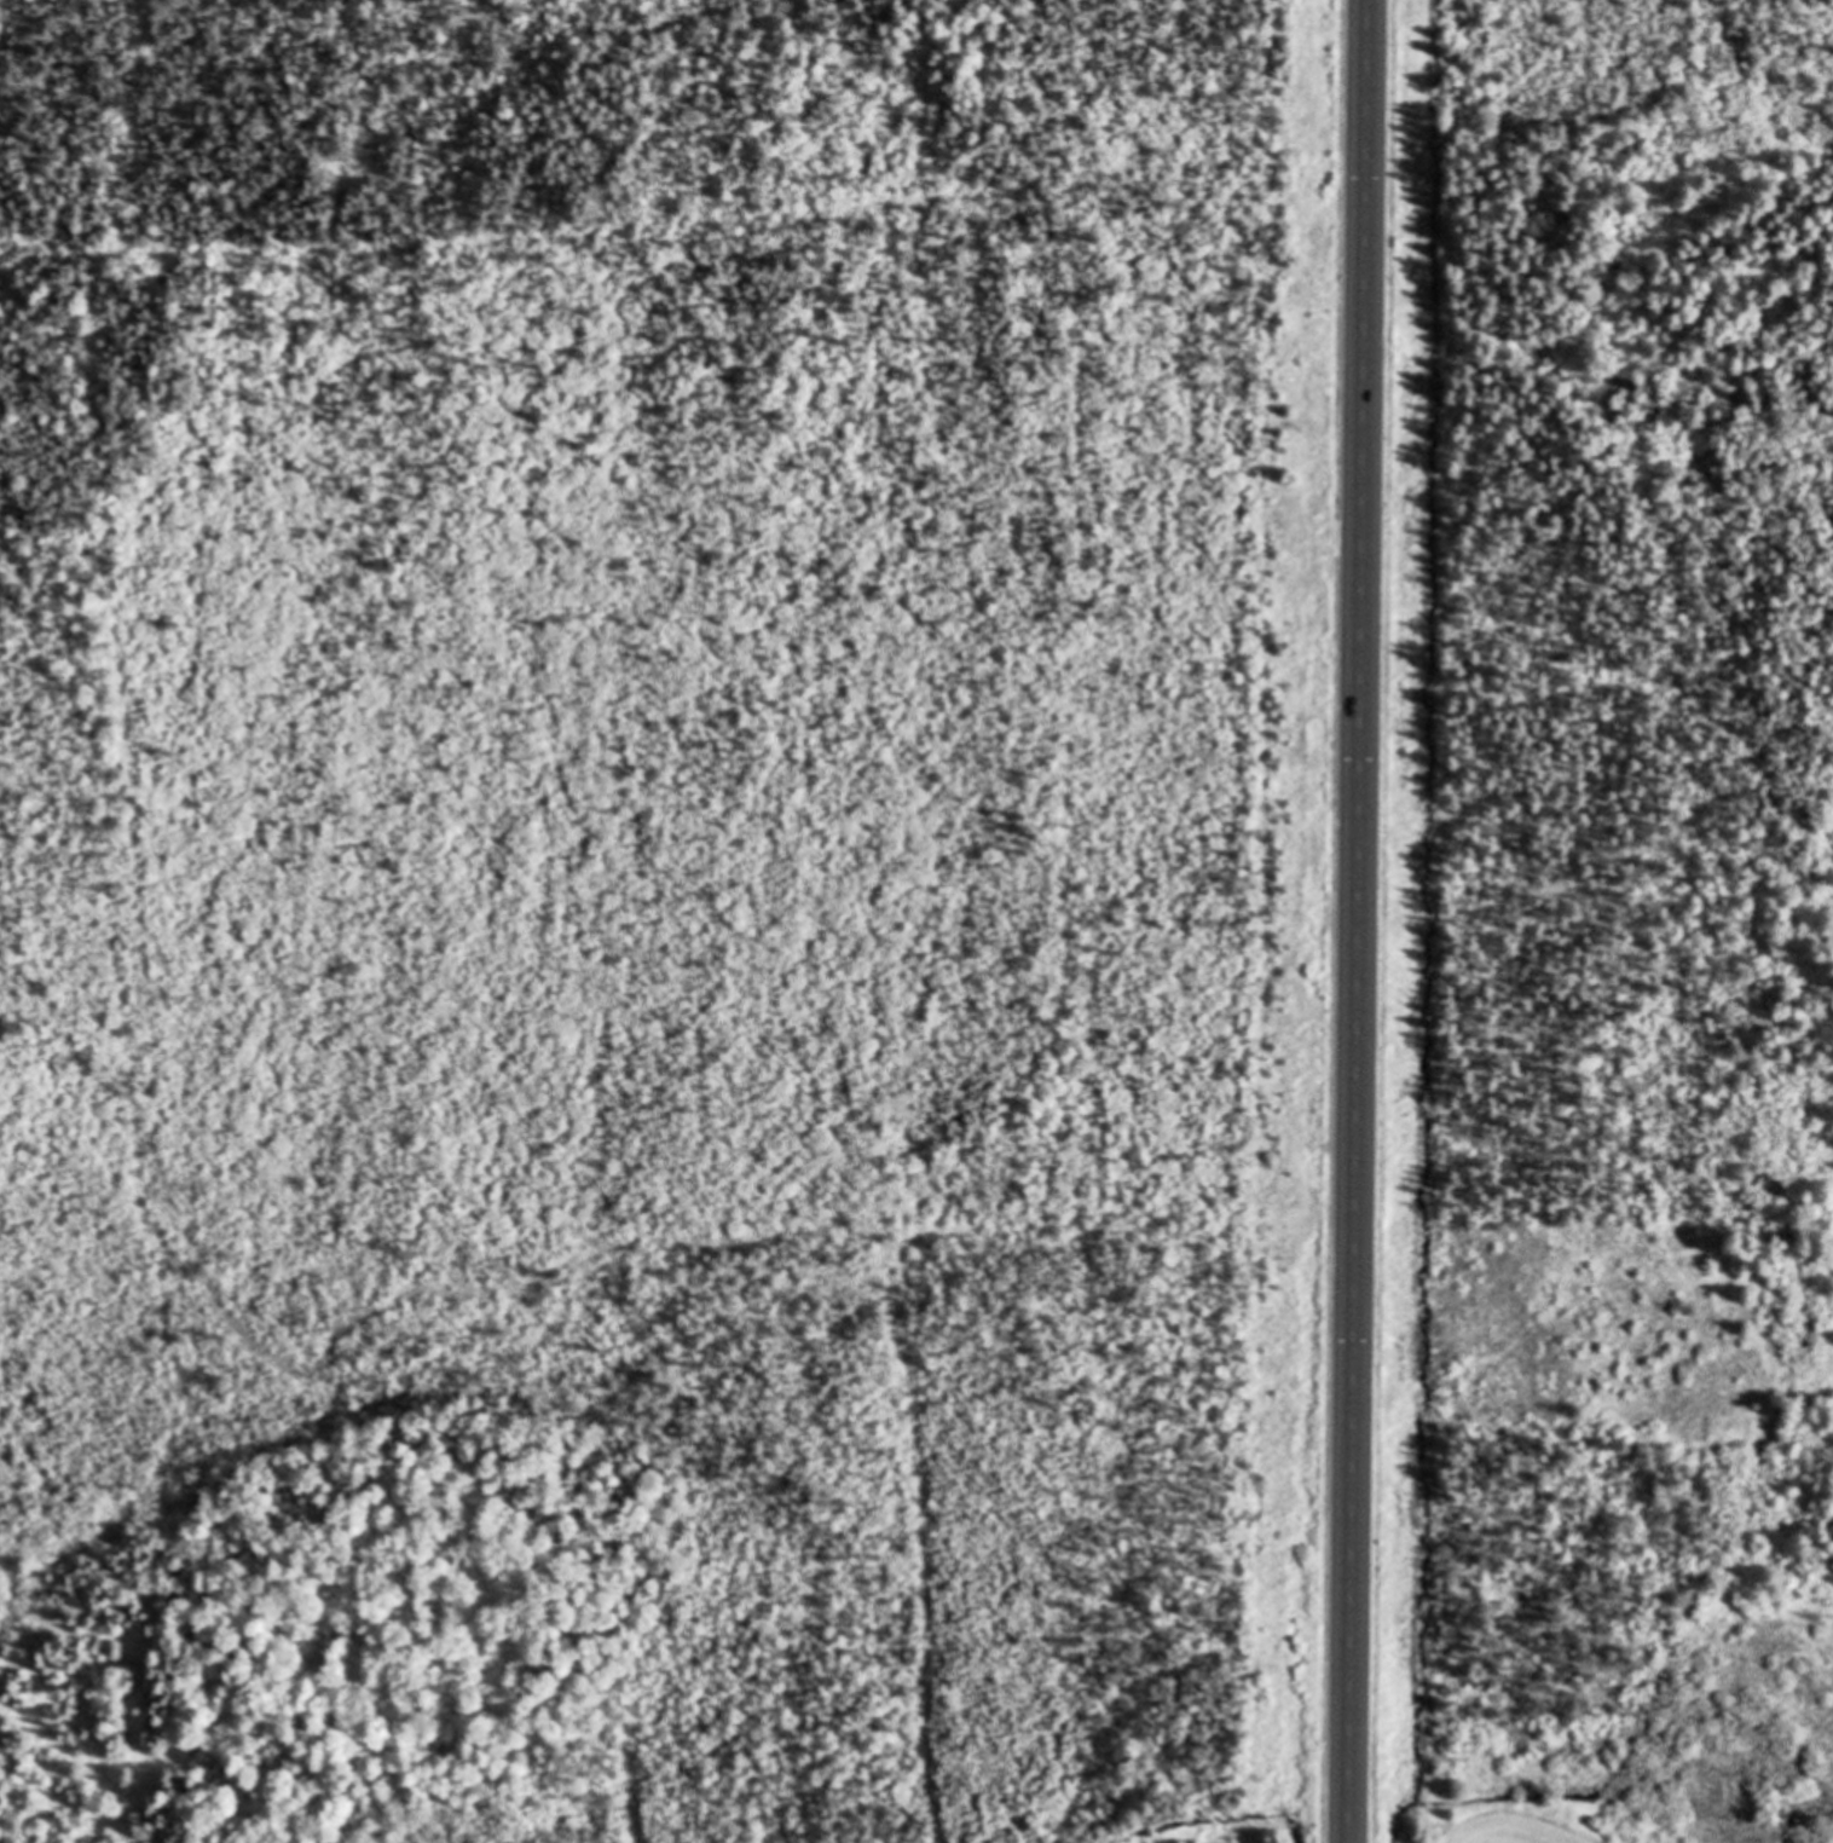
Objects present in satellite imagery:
road: (1355, 921)

